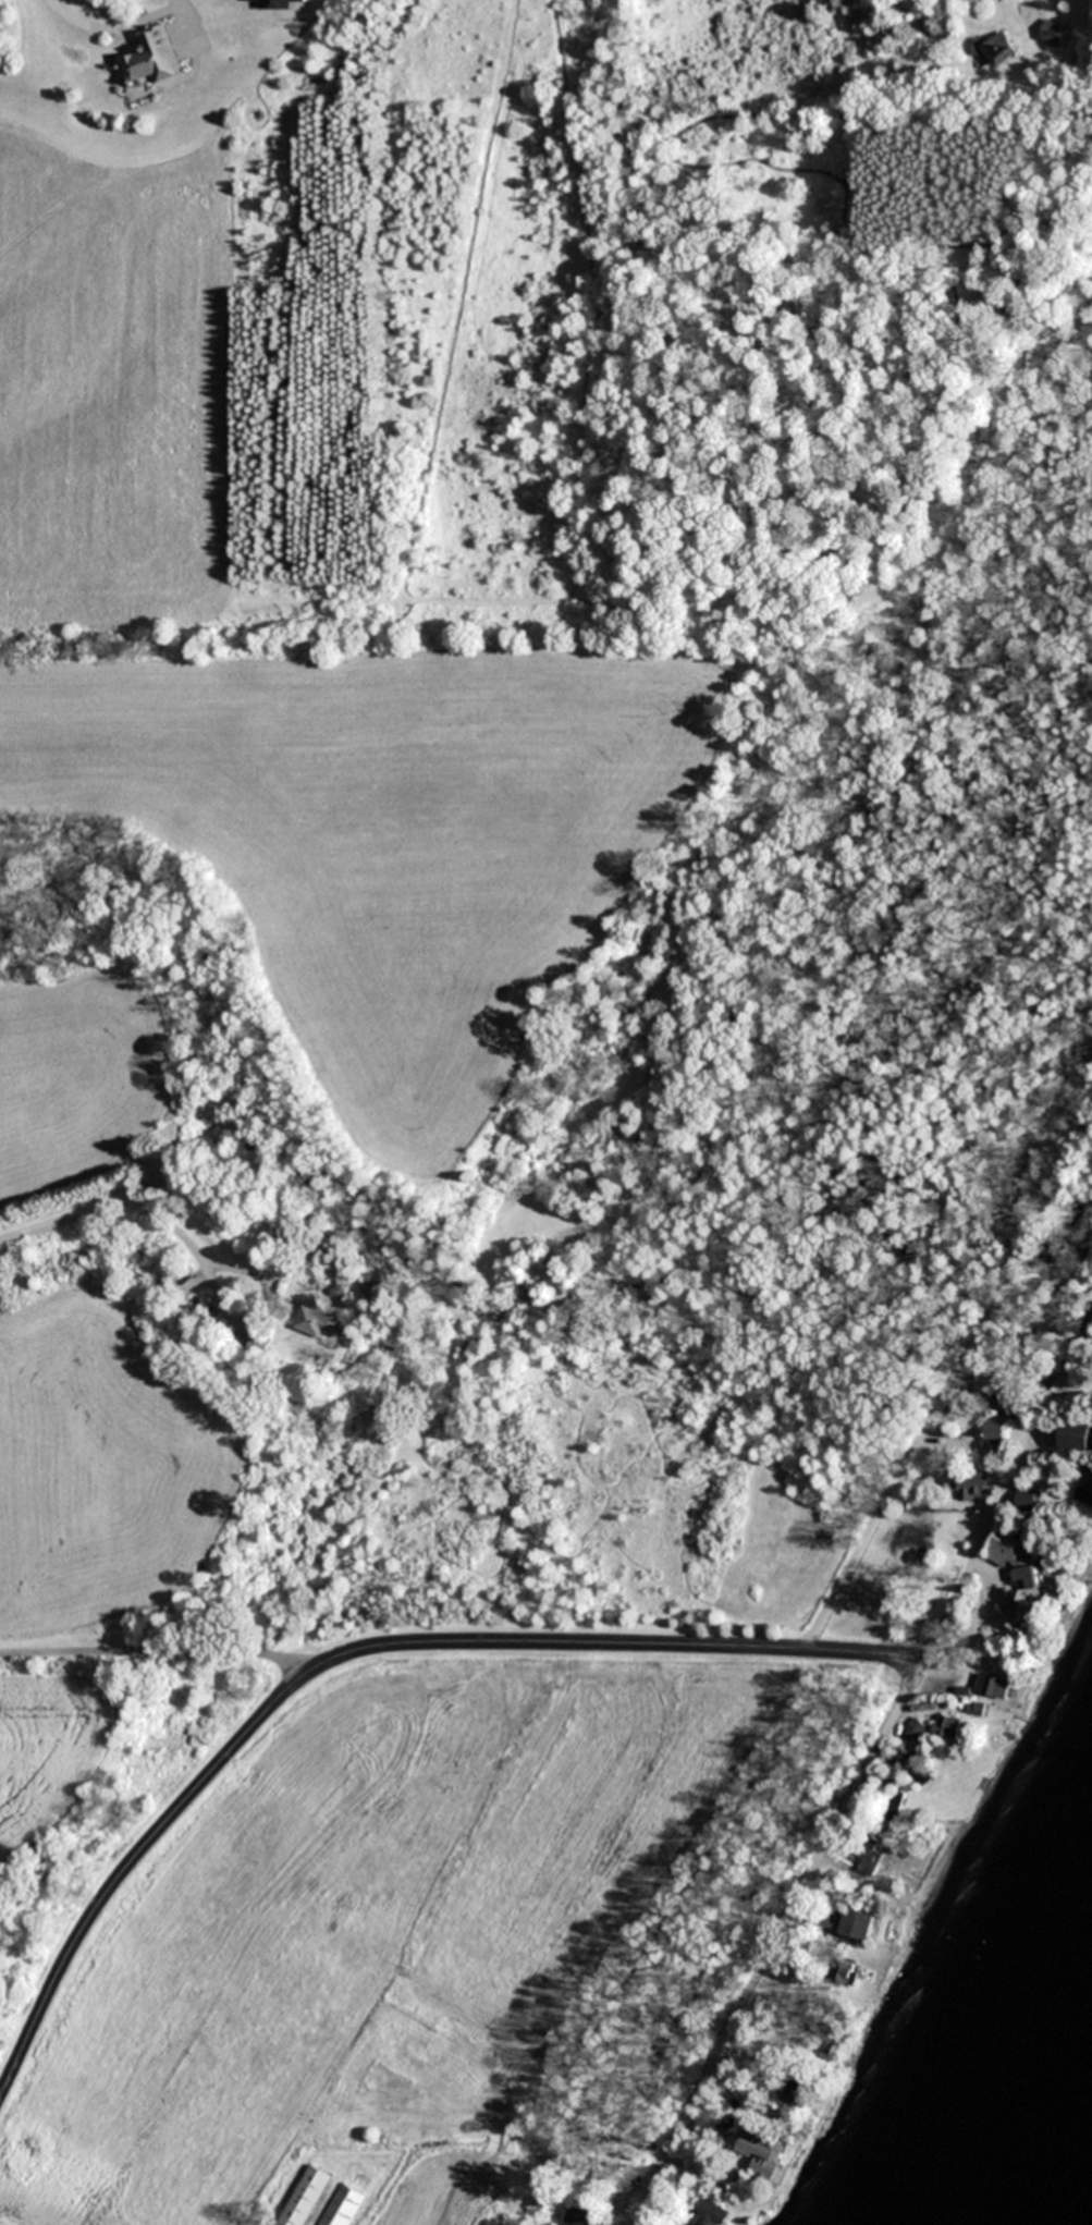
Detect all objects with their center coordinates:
building: (270, 1)
road: (111, 23)
building: (1054, 32)
building: (998, 49)
building: (156, 58)
building: (320, 1320)
building: (261, 1343)
road: (949, 1378)
building: (1016, 1398)
building: (994, 1432)
building: (1078, 1434)
building: (974, 1484)
building: (1029, 1499)
building: (1007, 1550)
road: (352, 1647)
building: (994, 1686)
building: (947, 1726)
building: (921, 1769)
road: (866, 1771)
building: (896, 1800)
building: (821, 1915)
building: (860, 1921)
building: (848, 1971)
building: (796, 2094)
building: (762, 2155)
building: (302, 2195)
building: (711, 2214)

